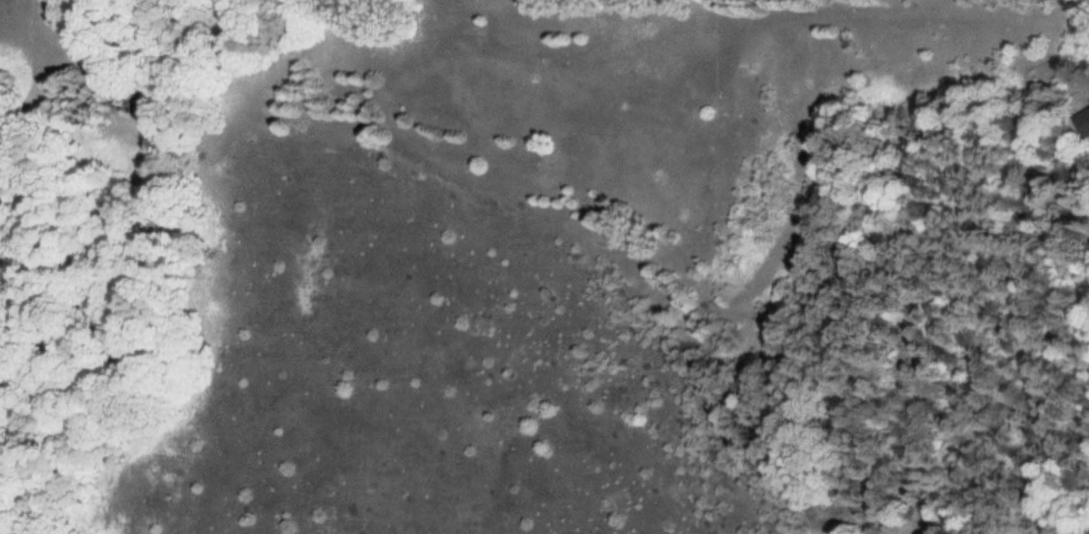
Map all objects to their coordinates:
building: (1082, 122)

